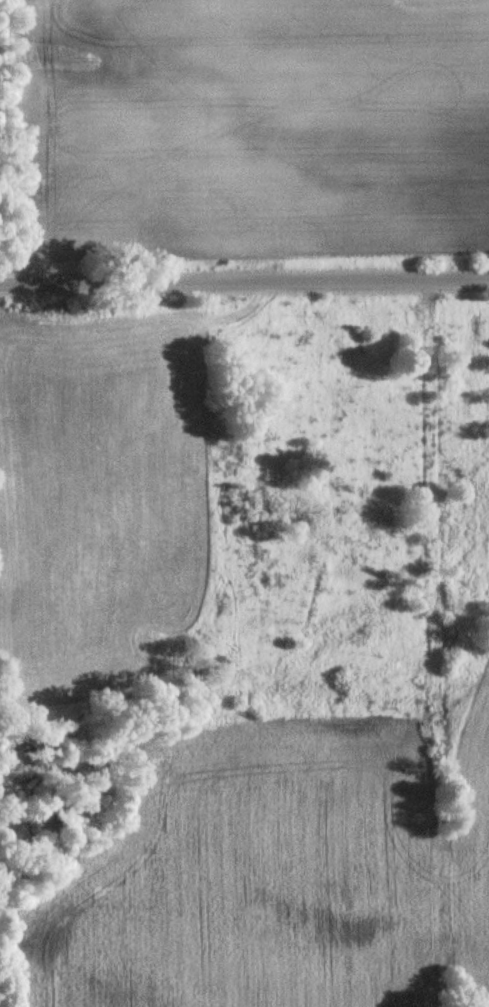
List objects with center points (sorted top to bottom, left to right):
road: (244, 281)
road: (413, 473)

